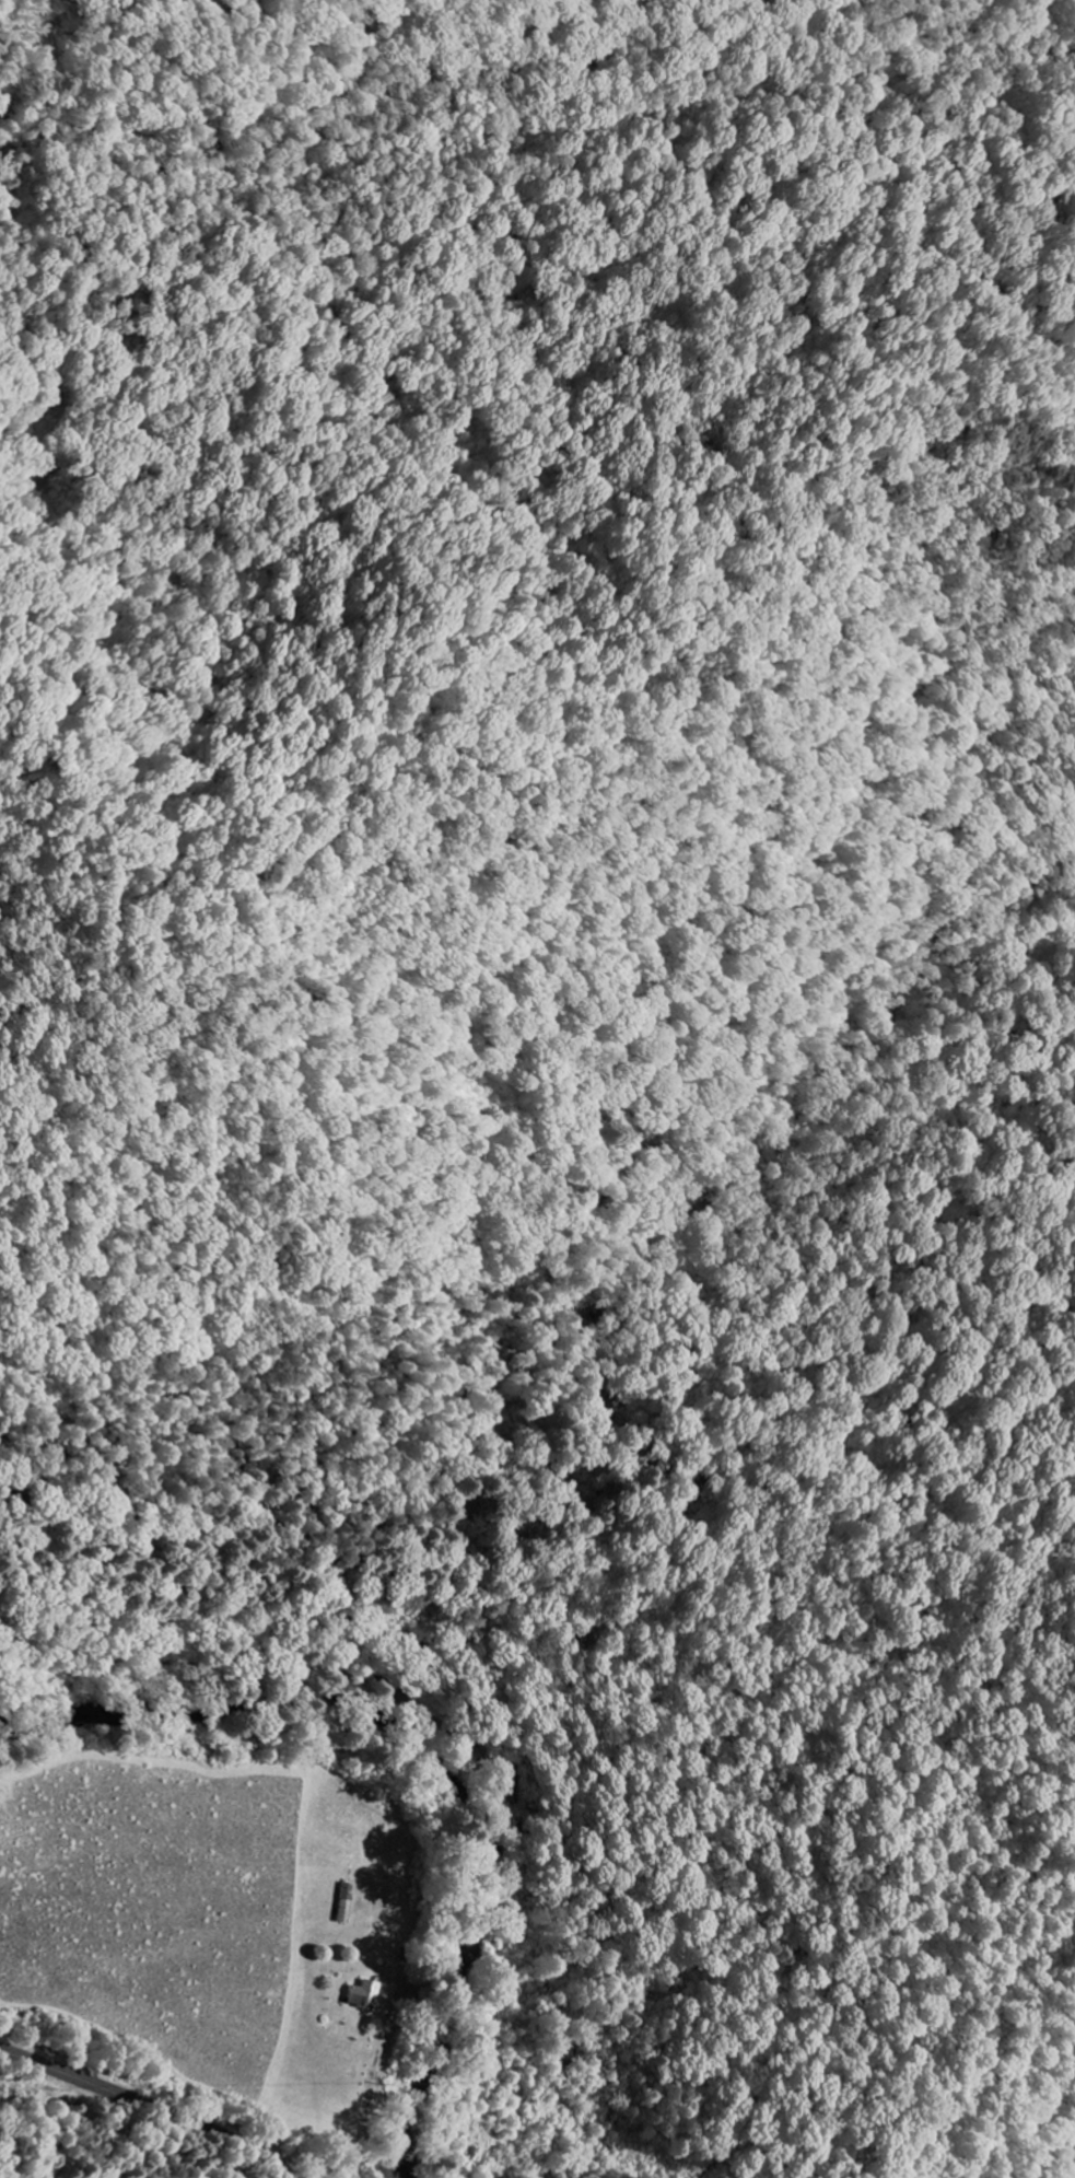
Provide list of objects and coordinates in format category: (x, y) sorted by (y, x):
road: (418, 1667)
building: (364, 1994)
road: (150, 2110)
road: (491, 2150)

